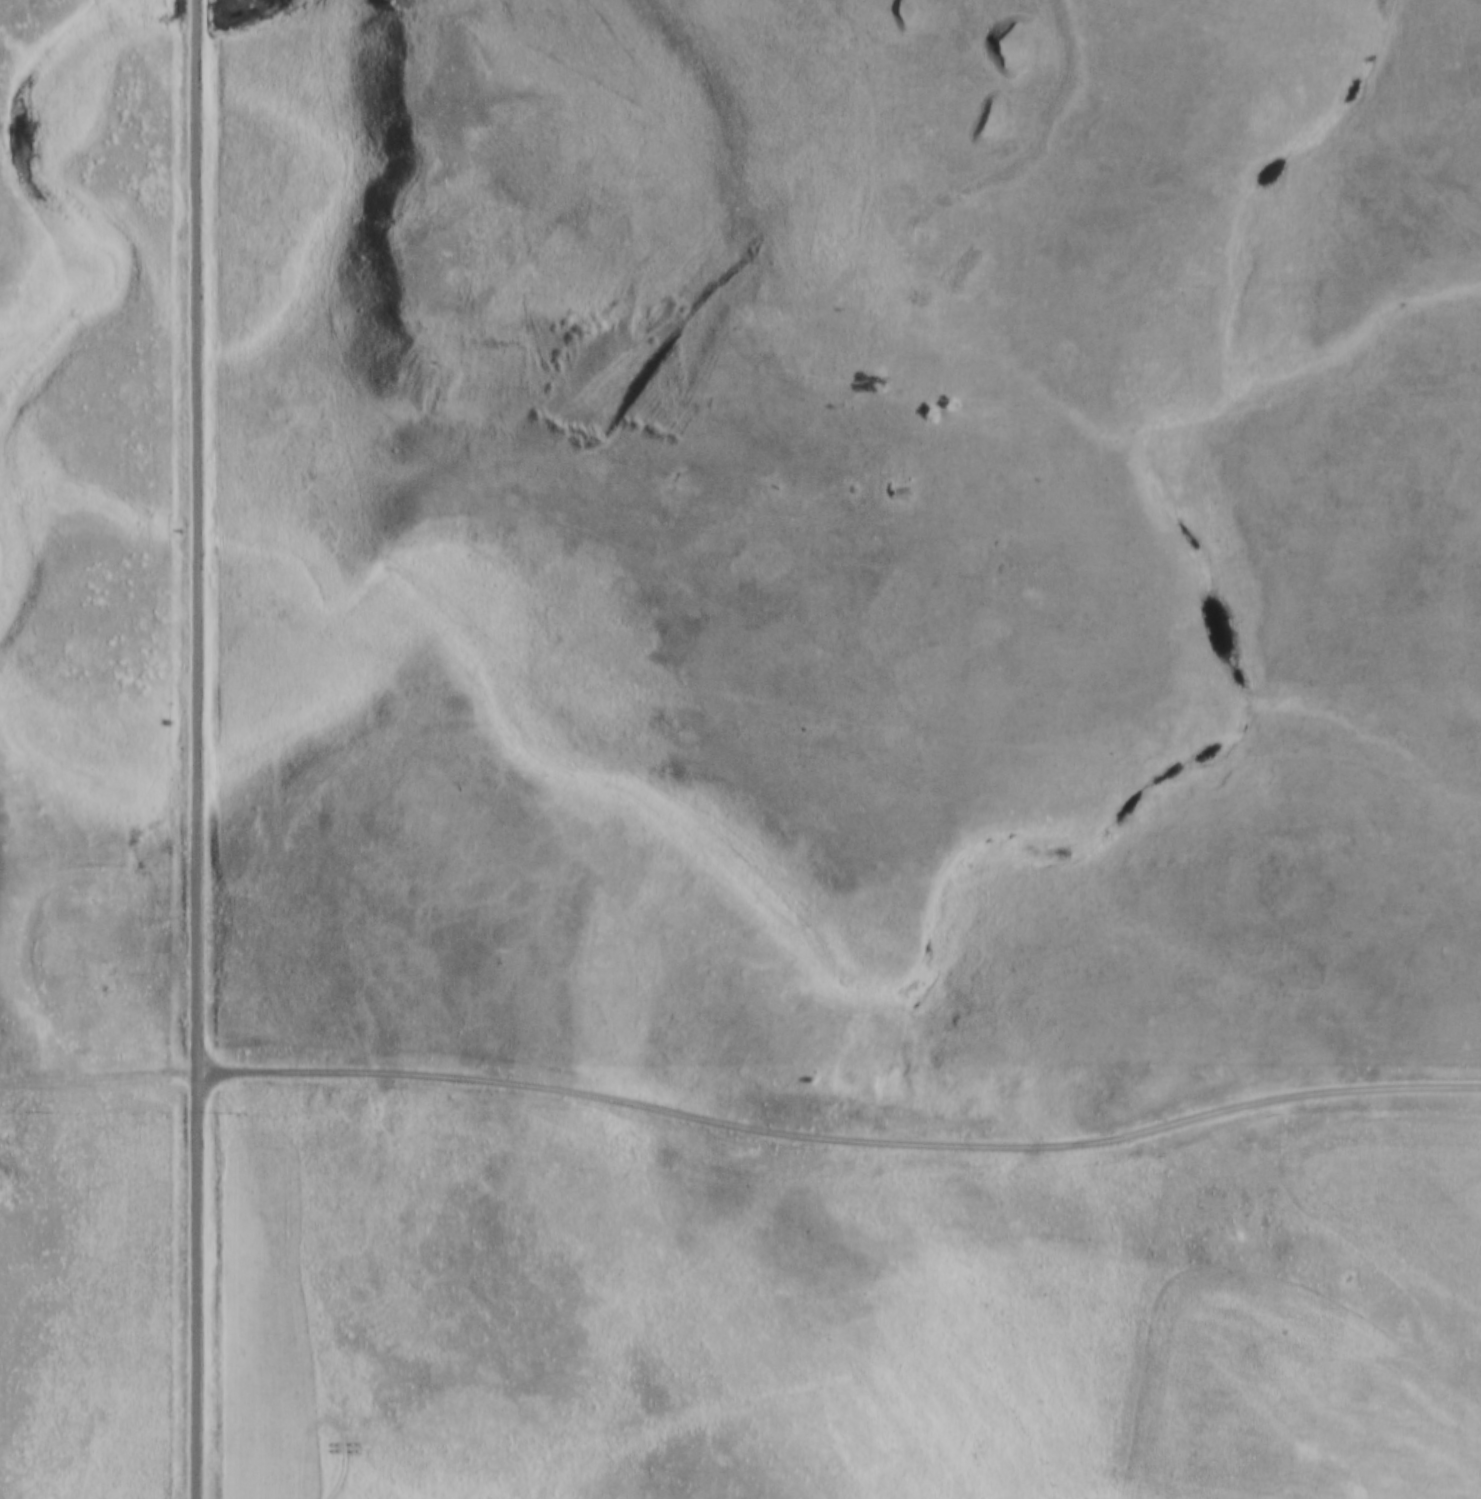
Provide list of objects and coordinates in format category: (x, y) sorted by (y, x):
road: (716, 55)
road: (872, 151)
quarry: (658, 220)
road: (194, 749)
road: (97, 1076)
road: (837, 1152)

